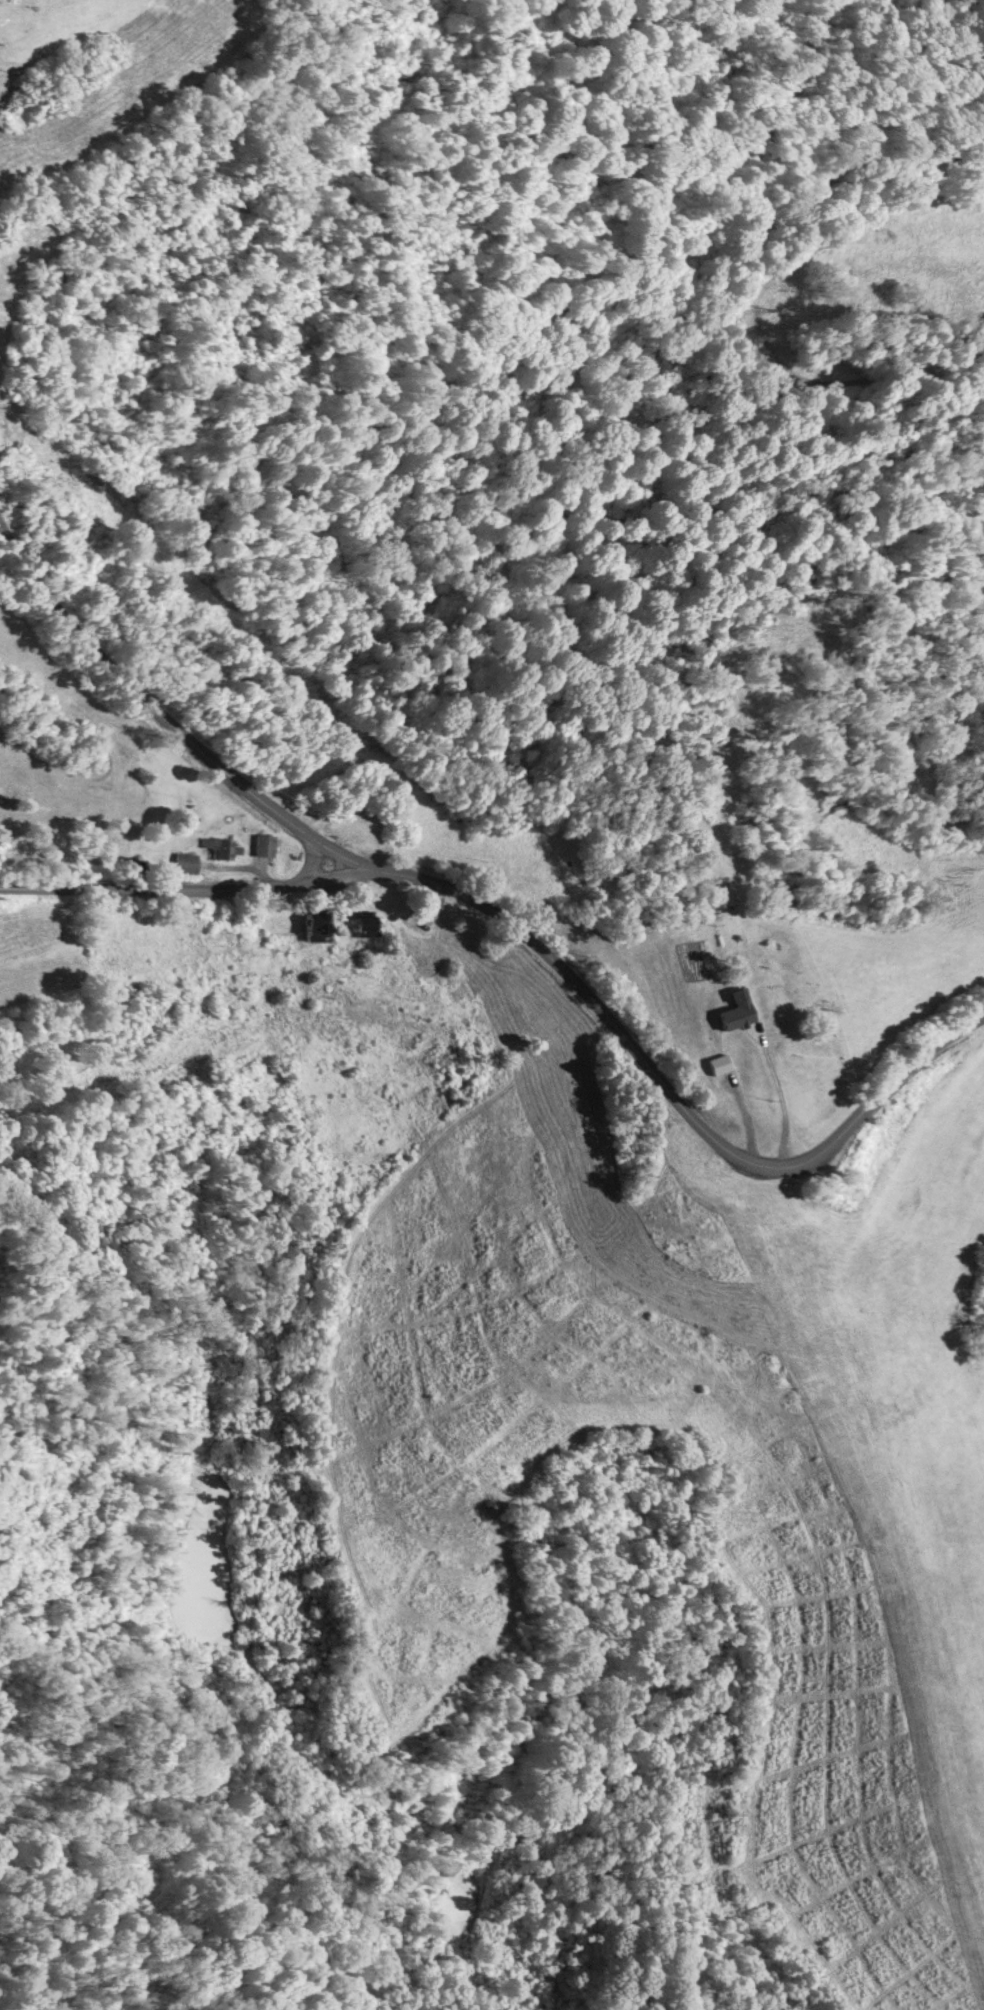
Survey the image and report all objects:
road: (159, 708)
building: (263, 846)
building: (221, 848)
building: (185, 863)
road: (172, 888)
building: (720, 900)
building: (421, 921)
building: (364, 924)
building: (313, 928)
building: (780, 996)
road: (666, 1084)
road: (779, 1093)
road: (748, 1119)

